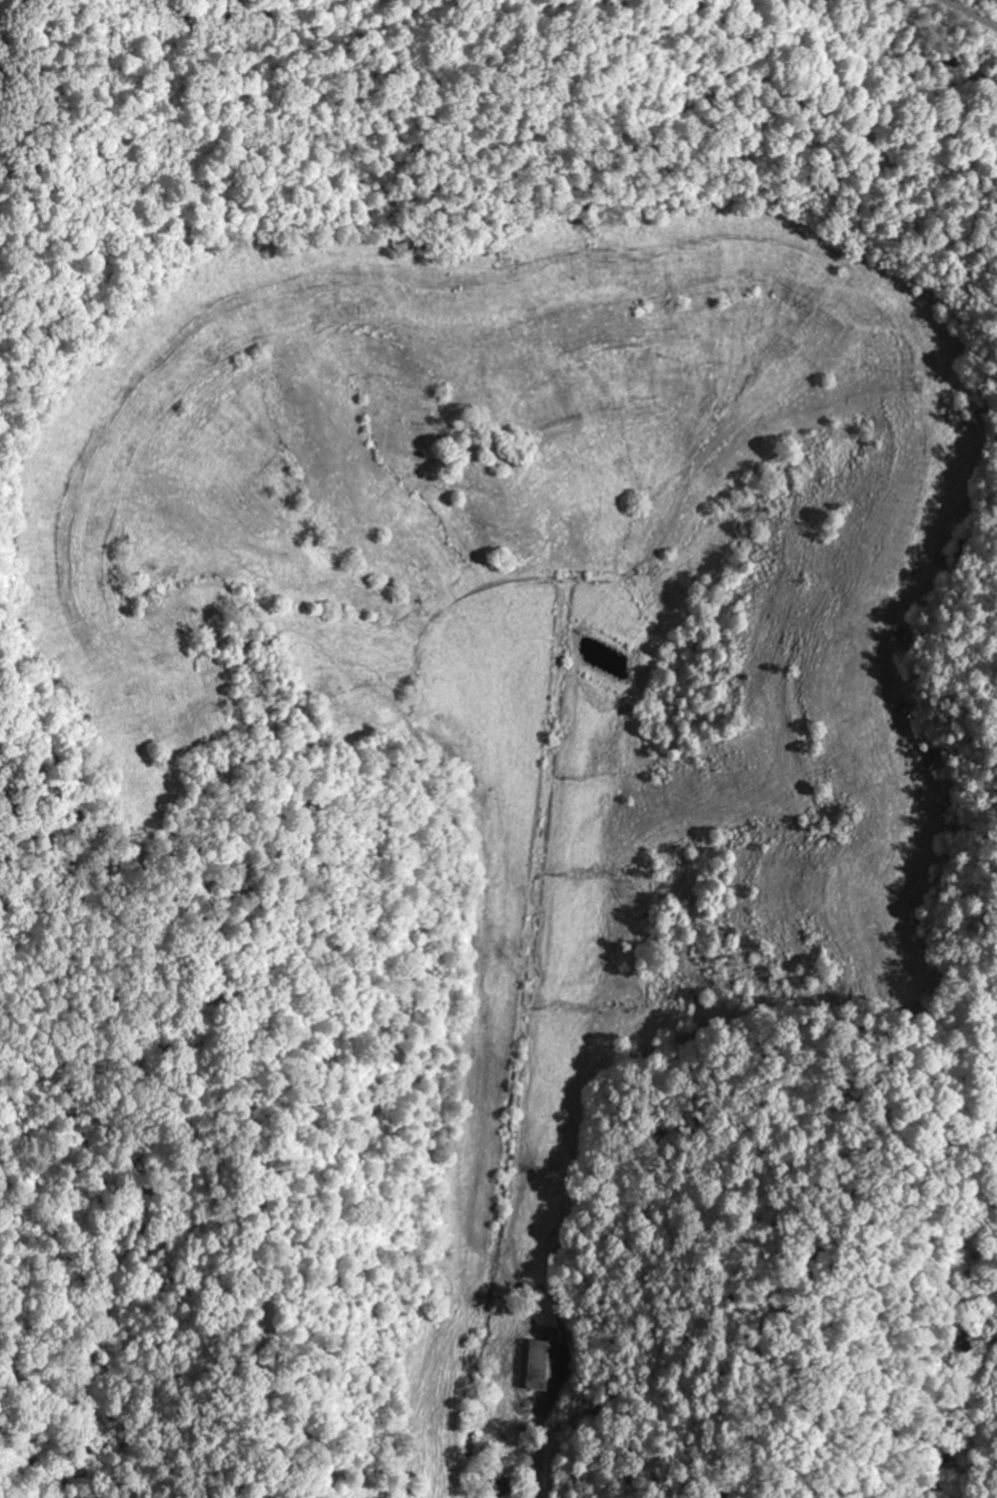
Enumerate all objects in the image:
building: (543, 1360)
building: (499, 1486)

